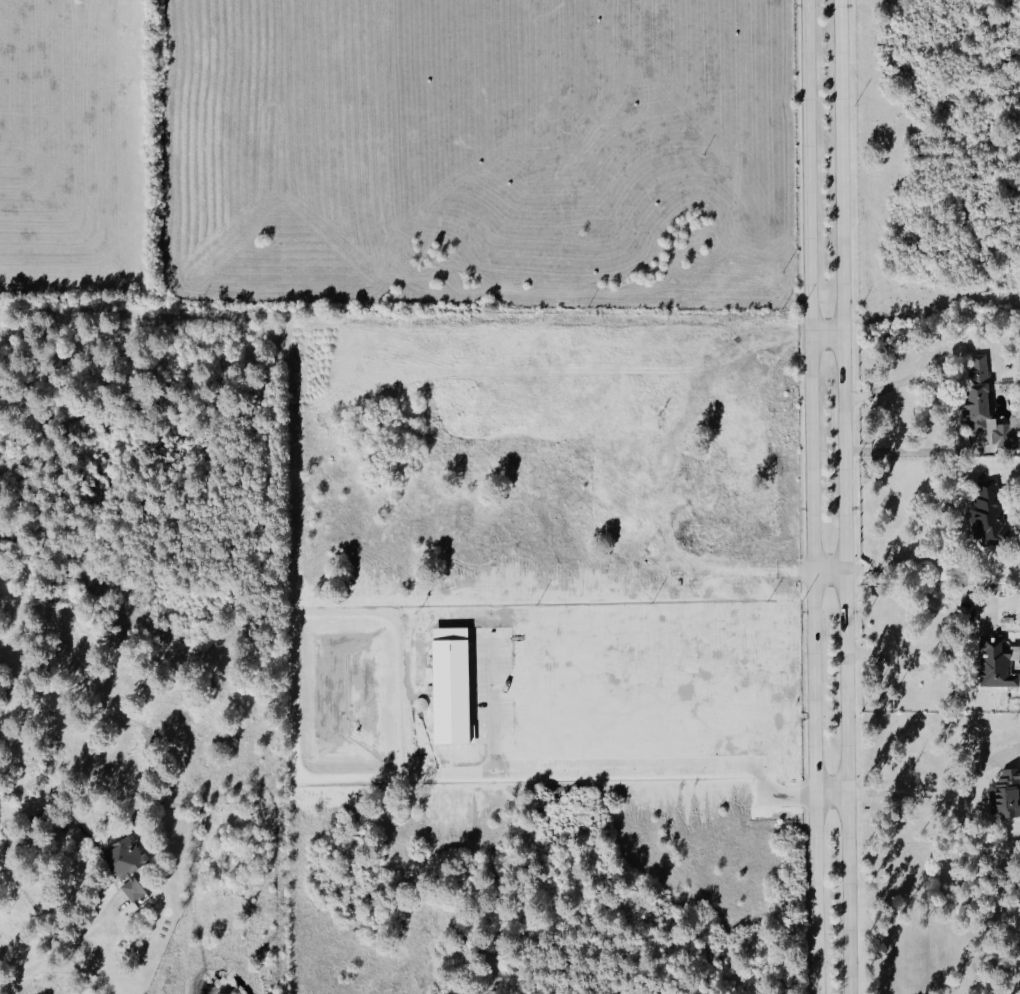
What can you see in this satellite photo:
road: (827, 334)
road: (883, 388)
building: (986, 406)
road: (911, 449)
road: (811, 497)
road: (844, 497)
building: (989, 517)
road: (920, 530)
road: (829, 571)
building: (997, 662)
road: (920, 667)
road: (619, 768)
road: (831, 792)
building: (1006, 794)
road: (937, 803)
building: (127, 865)
road: (36, 965)

